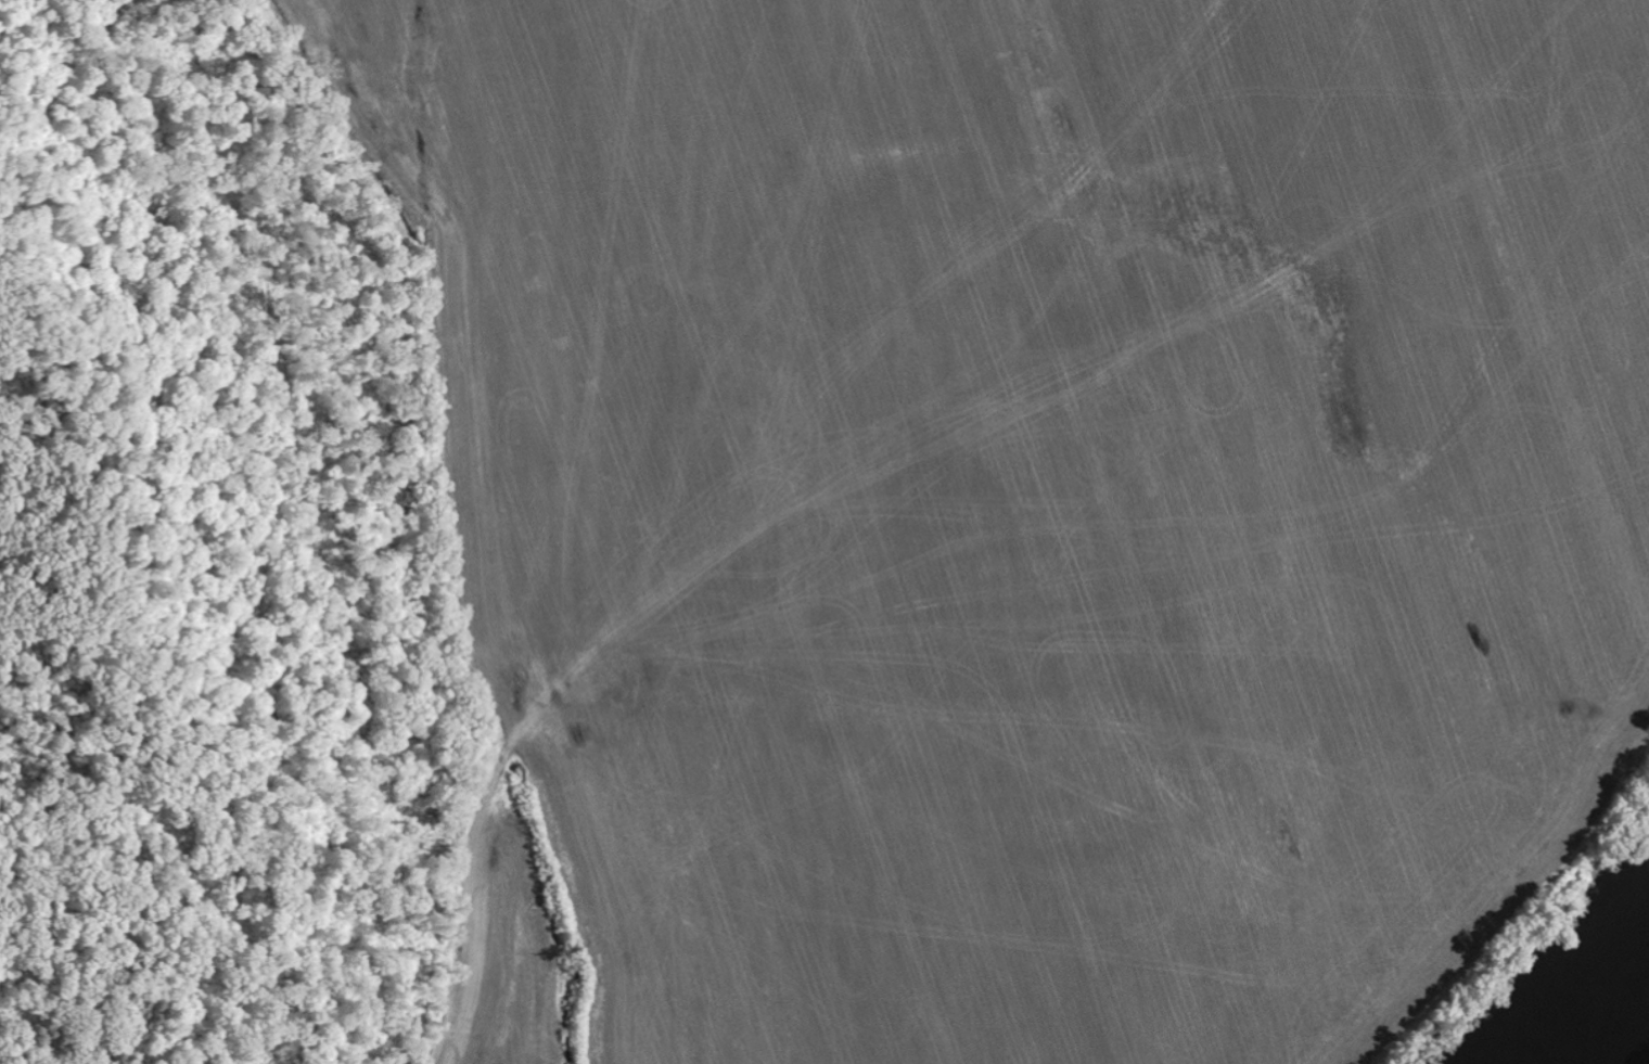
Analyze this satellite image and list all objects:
road: (469, 893)
river: (1596, 1012)

